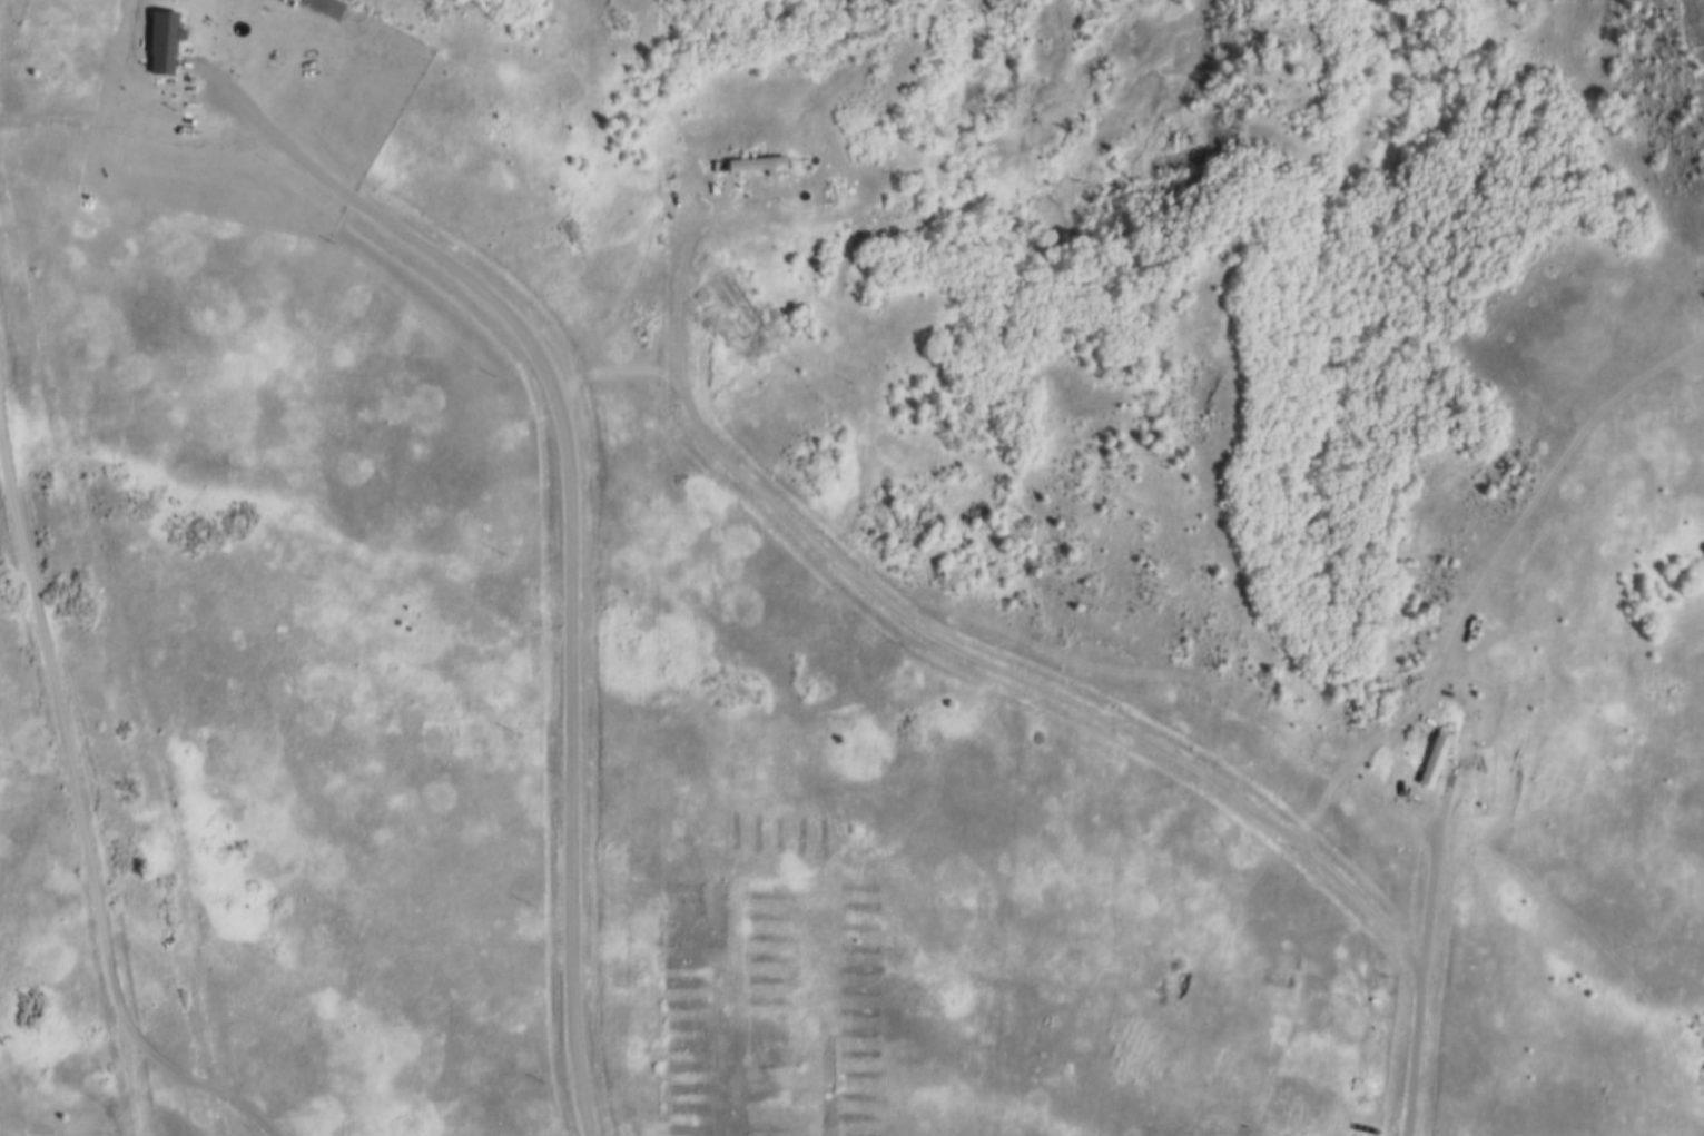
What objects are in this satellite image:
building: (159, 40)
building: (748, 165)
road: (1480, 579)
road: (936, 632)
building: (1428, 760)
road: (67, 765)
road: (1428, 871)
road: (1410, 1055)

